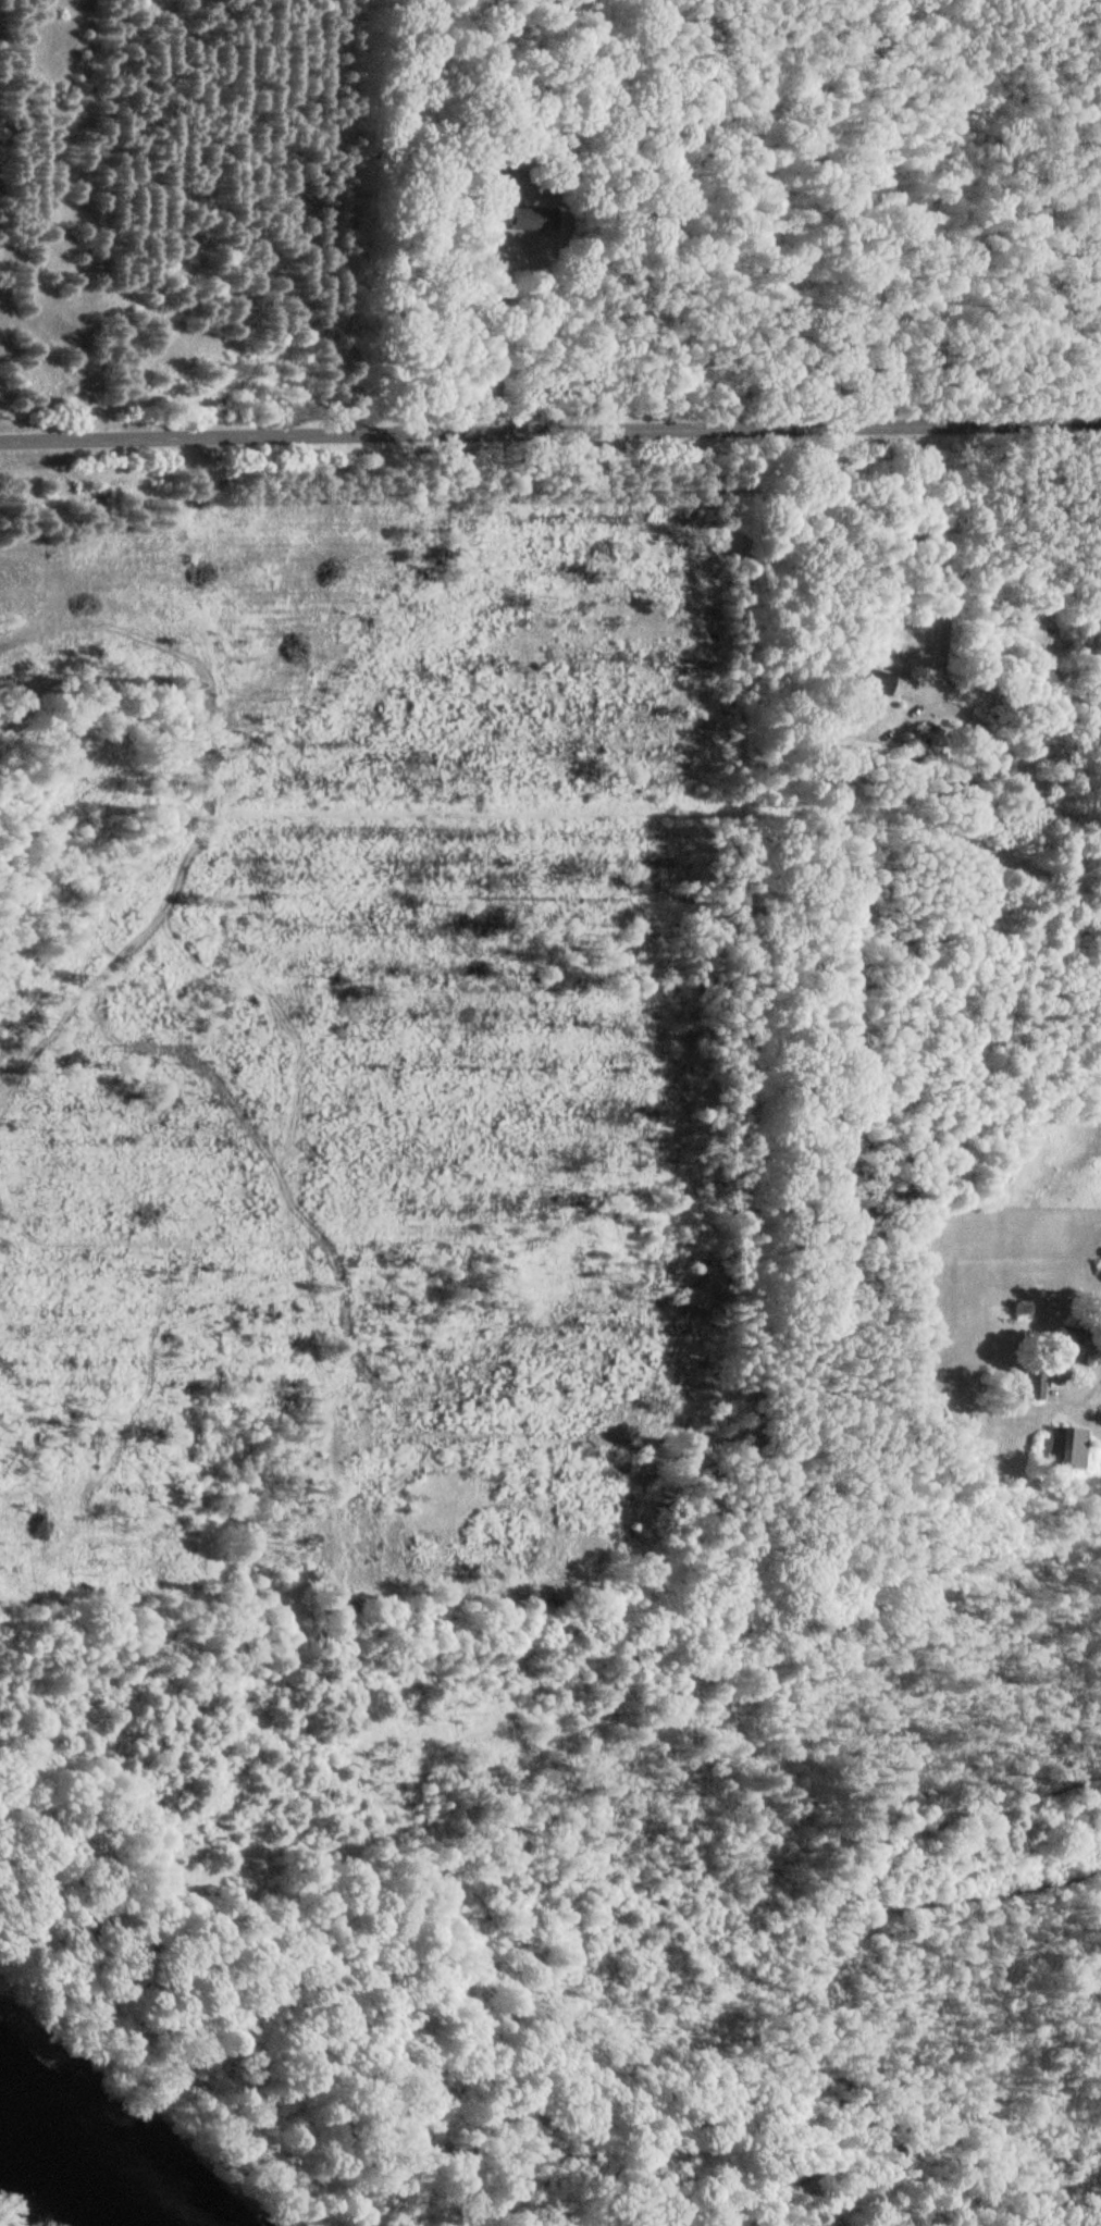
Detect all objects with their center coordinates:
road: (493, 327)
road: (549, 421)
road: (935, 553)
building: (1100, 1256)
road: (1083, 1368)
building: (1027, 1386)
building: (1055, 1449)
river: (69, 2167)

